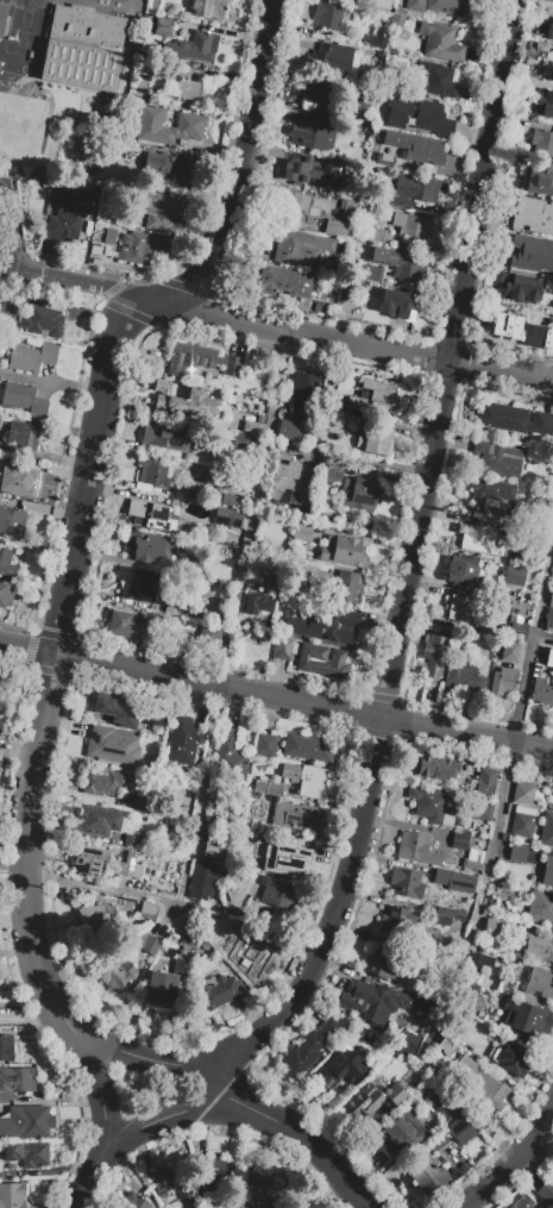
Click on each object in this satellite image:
building: (415, 6)
building: (171, 8)
building: (209, 8)
building: (451, 8)
building: (1, 14)
building: (327, 17)
building: (86, 26)
building: (163, 26)
building: (552, 36)
building: (378, 40)
building: (440, 42)
building: (190, 48)
building: (329, 58)
building: (78, 64)
building: (547, 67)
building: (145, 68)
building: (438, 80)
building: (139, 87)
building: (195, 90)
building: (313, 90)
building: (365, 100)
building: (543, 105)
building: (420, 115)
building: (190, 124)
building: (20, 129)
building: (312, 133)
building: (541, 142)
building: (415, 146)
building: (309, 169)
building: (171, 170)
building: (540, 179)
building: (411, 190)
building: (291, 207)
building: (346, 207)
building: (162, 211)
building: (70, 213)
building: (533, 215)
road: (14, 224)
building: (410, 224)
road: (7, 229)
building: (338, 229)
building: (379, 236)
parking lot: (0, 244)
building: (105, 244)
building: (143, 248)
building: (299, 248)
building: (530, 252)
building: (401, 263)
road: (7, 268)
building: (373, 276)
building: (287, 284)
building: (521, 288)
building: (372, 295)
building: (394, 307)
building: (42, 321)
road: (282, 331)
building: (522, 332)
building: (31, 357)
building: (200, 362)
road: (51, 380)
building: (303, 393)
building: (375, 396)
building: (24, 399)
building: (184, 400)
building: (497, 417)
building: (338, 418)
building: (534, 423)
building: (253, 425)
building: (289, 430)
building: (163, 433)
building: (23, 436)
building: (245, 443)
building: (376, 444)
road: (43, 457)
building: (496, 458)
road: (365, 461)
road: (88, 462)
building: (332, 472)
building: (153, 474)
building: (291, 481)
building: (14, 482)
building: (489, 489)
building: (194, 493)
building: (360, 495)
building: (226, 500)
building: (151, 515)
building: (227, 519)
building: (12, 522)
building: (300, 533)
building: (479, 538)
building: (149, 549)
building: (344, 552)
road: (413, 562)
building: (6, 563)
building: (191, 569)
building: (460, 569)
building: (514, 575)
building: (165, 583)
building: (270, 583)
building: (137, 584)
building: (347, 588)
building: (5, 593)
building: (551, 599)
building: (182, 606)
building: (257, 608)
building: (466, 609)
building: (519, 615)
building: (549, 618)
road: (238, 619)
building: (294, 626)
building: (334, 626)
building: (132, 627)
building: (282, 649)
building: (509, 651)
building: (549, 657)
building: (433, 658)
building: (321, 661)
building: (467, 674)
building: (0, 677)
building: (503, 681)
building: (542, 691)
road: (276, 696)
building: (130, 713)
building: (182, 740)
building: (265, 745)
building: (112, 746)
building: (309, 746)
building: (230, 757)
building: (436, 770)
building: (103, 782)
building: (312, 782)
building: (489, 785)
building: (268, 788)
building: (522, 791)
building: (137, 802)
building: (429, 807)
building: (295, 814)
building: (483, 814)
building: (100, 820)
building: (522, 821)
building: (547, 830)
building: (136, 841)
building: (461, 841)
building: (417, 849)
building: (205, 853)
building: (284, 853)
building: (517, 853)
building: (472, 859)
building: (87, 860)
building: (126, 862)
building: (541, 874)
road: (491, 877)
building: (455, 880)
building: (201, 881)
building: (407, 883)
building: (278, 894)
road: (178, 905)
building: (541, 907)
building: (147, 912)
building: (446, 916)
building: (93, 919)
building: (395, 919)
building: (494, 927)
building: (239, 941)
building: (147, 944)
building: (538, 949)
building: (256, 958)
building: (382, 965)
building: (115, 975)
building: (540, 982)
building: (507, 985)
building: (159, 988)
building: (220, 995)
building: (469, 997)
building: (372, 1003)
building: (527, 1021)
building: (484, 1035)
building: (308, 1046)
building: (6, 1047)
building: (460, 1059)
building: (514, 1060)
road: (149, 1063)
road: (88, 1064)
building: (340, 1070)
building: (15, 1082)
building: (484, 1088)
park: (146, 1094)
building: (395, 1094)
building: (364, 1101)
road: (181, 1110)
building: (26, 1122)
road: (103, 1122)
building: (459, 1128)
building: (401, 1132)
road: (107, 1151)
building: (27, 1153)
road: (326, 1162)
road: (507, 1163)
road: (58, 1169)
building: (426, 1175)
building: (210, 1181)
building: (165, 1183)
building: (546, 1190)
building: (256, 1191)
building: (12, 1195)
building: (184, 1195)
road: (80, 1196)
building: (134, 1201)
building: (522, 1202)

